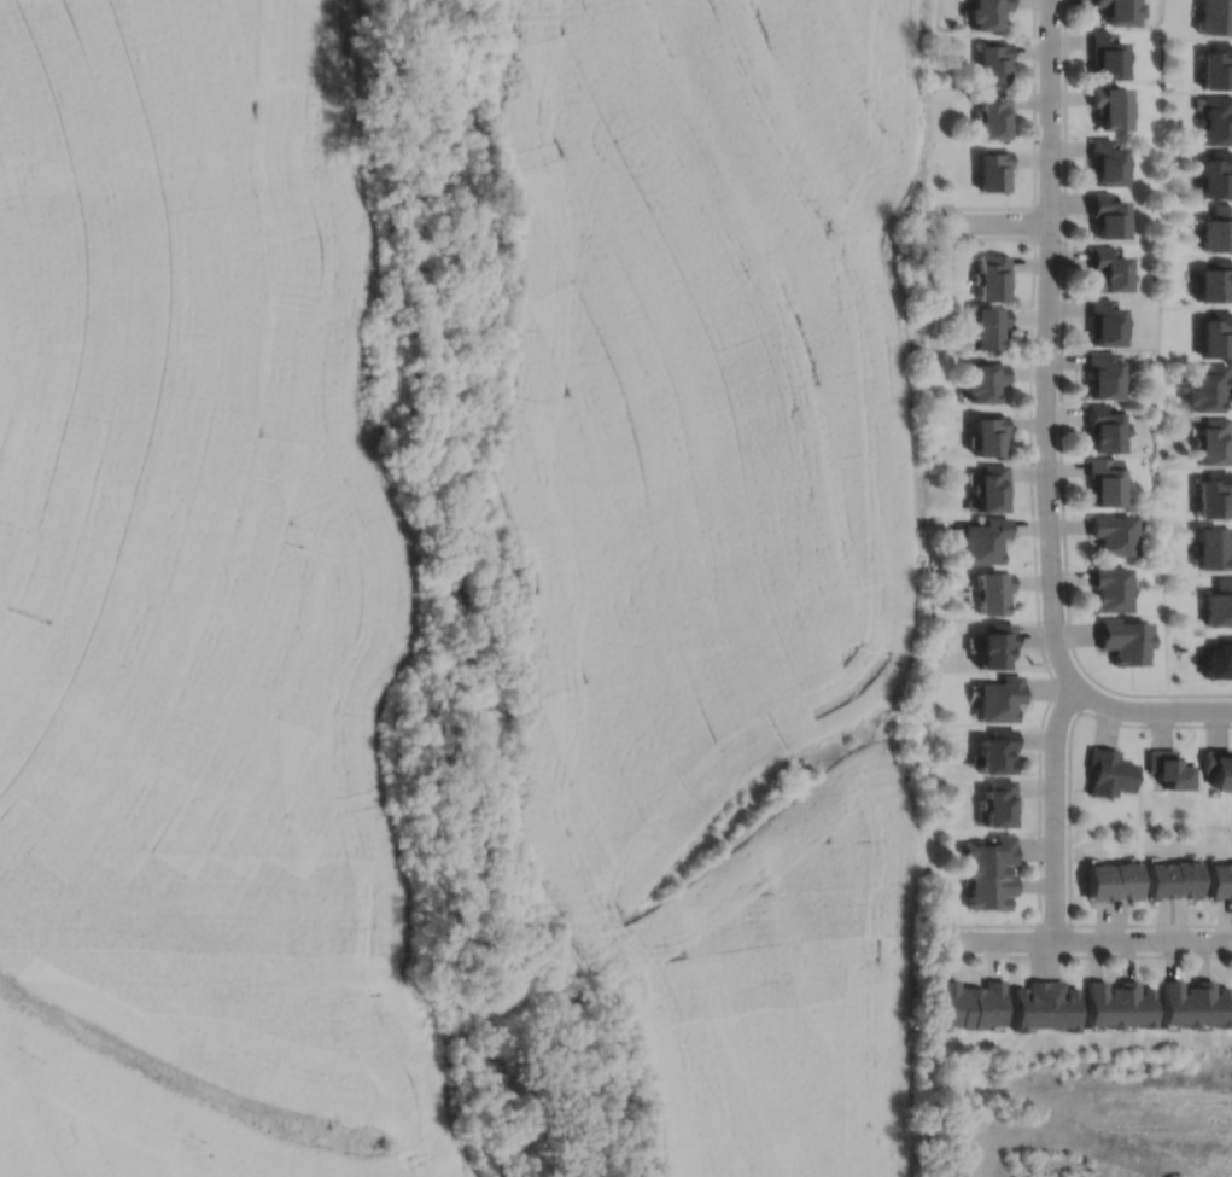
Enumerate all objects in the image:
building: (1117, 11)
building: (986, 13)
building: (1216, 17)
street lamp: (1061, 27)
building: (1105, 56)
building: (992, 62)
building: (1218, 66)
building: (1109, 107)
building: (993, 115)
building: (1218, 121)
street lamp: (1037, 142)
road: (1034, 150)
building: (1107, 162)
building: (993, 170)
building: (1218, 175)
building: (1107, 216)
road: (993, 222)
road: (1034, 222)
building: (1219, 231)
street lamp: (1062, 243)
building: (1108, 270)
building: (991, 279)
building: (1215, 284)
building: (1105, 324)
building: (988, 328)
building: (1218, 337)
road: (1046, 345)
street lamp: (1034, 360)
building: (1104, 377)
building: (983, 383)
building: (1210, 390)
road: (1061, 414)
building: (1104, 431)
building: (988, 437)
building: (1215, 443)
street lamp: (1034, 465)
building: (1104, 484)
building: (989, 491)
building: (1213, 495)
building: (1111, 535)
building: (983, 540)
building: (1210, 544)
crop: (722, 547)
street lamp: (1063, 563)
road: (1035, 585)
building: (1108, 587)
building: (992, 590)
building: (1219, 601)
crop: (195, 614)
building: (1122, 639)
building: (995, 643)
building: (1218, 659)
street lamp: (1052, 670)
building: (999, 698)
street lamp: (1169, 698)
road: (1067, 699)
road: (1151, 710)
building: (997, 750)
building: (1167, 768)
building: (1218, 768)
building: (1108, 773)
building: (998, 803)
road: (1055, 809)
road: (1069, 820)
street lamp: (1065, 827)
building: (991, 853)
building: (1184, 879)
building: (1125, 880)
building: (1157, 880)
building: (1219, 880)
building: (1099, 881)
building: (989, 890)
road: (1055, 925)
street lamp: (939, 927)
street lamp: (1034, 927)
road: (1085, 940)
street lamp: (1158, 951)
road: (1084, 955)
building: (954, 1004)
building: (988, 1004)
building: (1175, 1004)
building: (1209, 1004)
building: (1029, 1006)
building: (1061, 1006)
building: (1103, 1006)
building: (1135, 1006)

